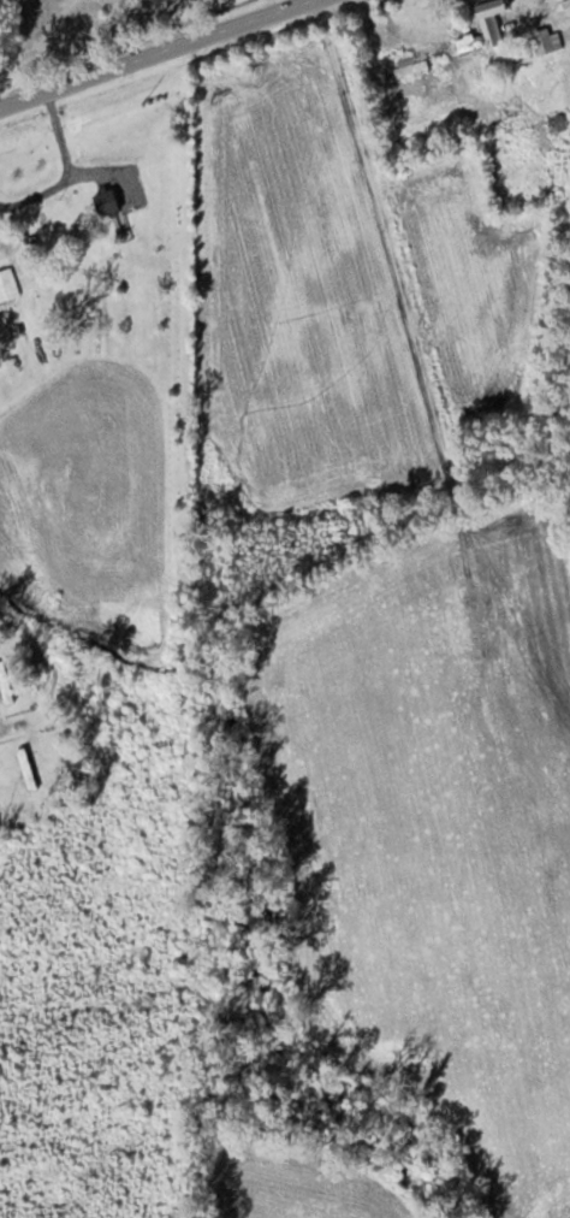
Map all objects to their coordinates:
building: (493, 20)
building: (548, 41)
building: (469, 43)
road: (158, 53)
building: (411, 67)
building: (558, 123)
building: (109, 201)
building: (52, 225)
building: (8, 285)
building: (6, 684)
building: (28, 768)

